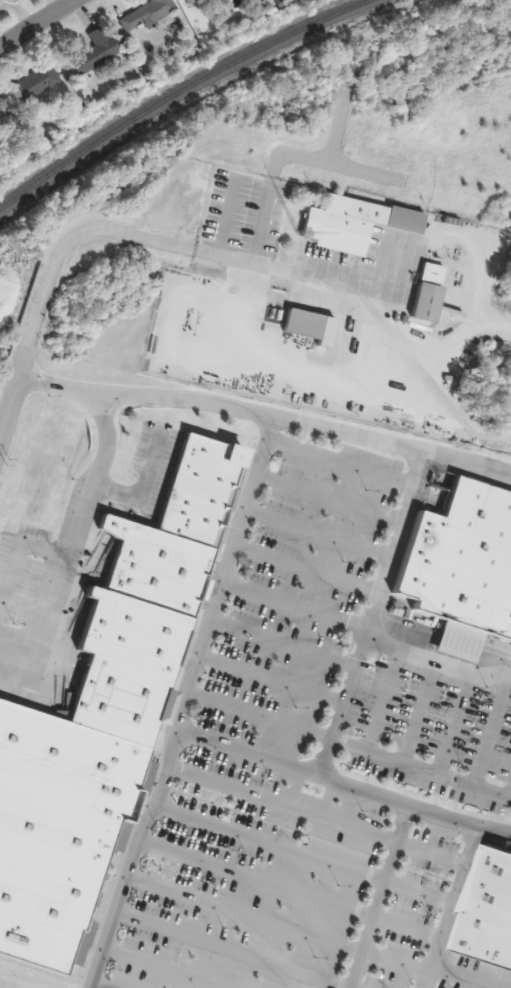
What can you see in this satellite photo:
building: (193, 2)
building: (149, 15)
road: (36, 23)
building: (98, 52)
building: (37, 84)
railway: (178, 91)
building: (2, 110)
building: (407, 220)
building: (338, 228)
road: (162, 244)
building: (430, 292)
building: (305, 324)
road: (8, 403)
road: (266, 413)
building: (208, 501)
road: (77, 535)
building: (464, 560)
building: (165, 582)
road: (365, 637)
building: (144, 648)
road: (190, 703)
road: (338, 704)
building: (128, 719)
road: (419, 765)
road: (346, 783)
building: (60, 848)
road: (393, 898)
building: (489, 907)

